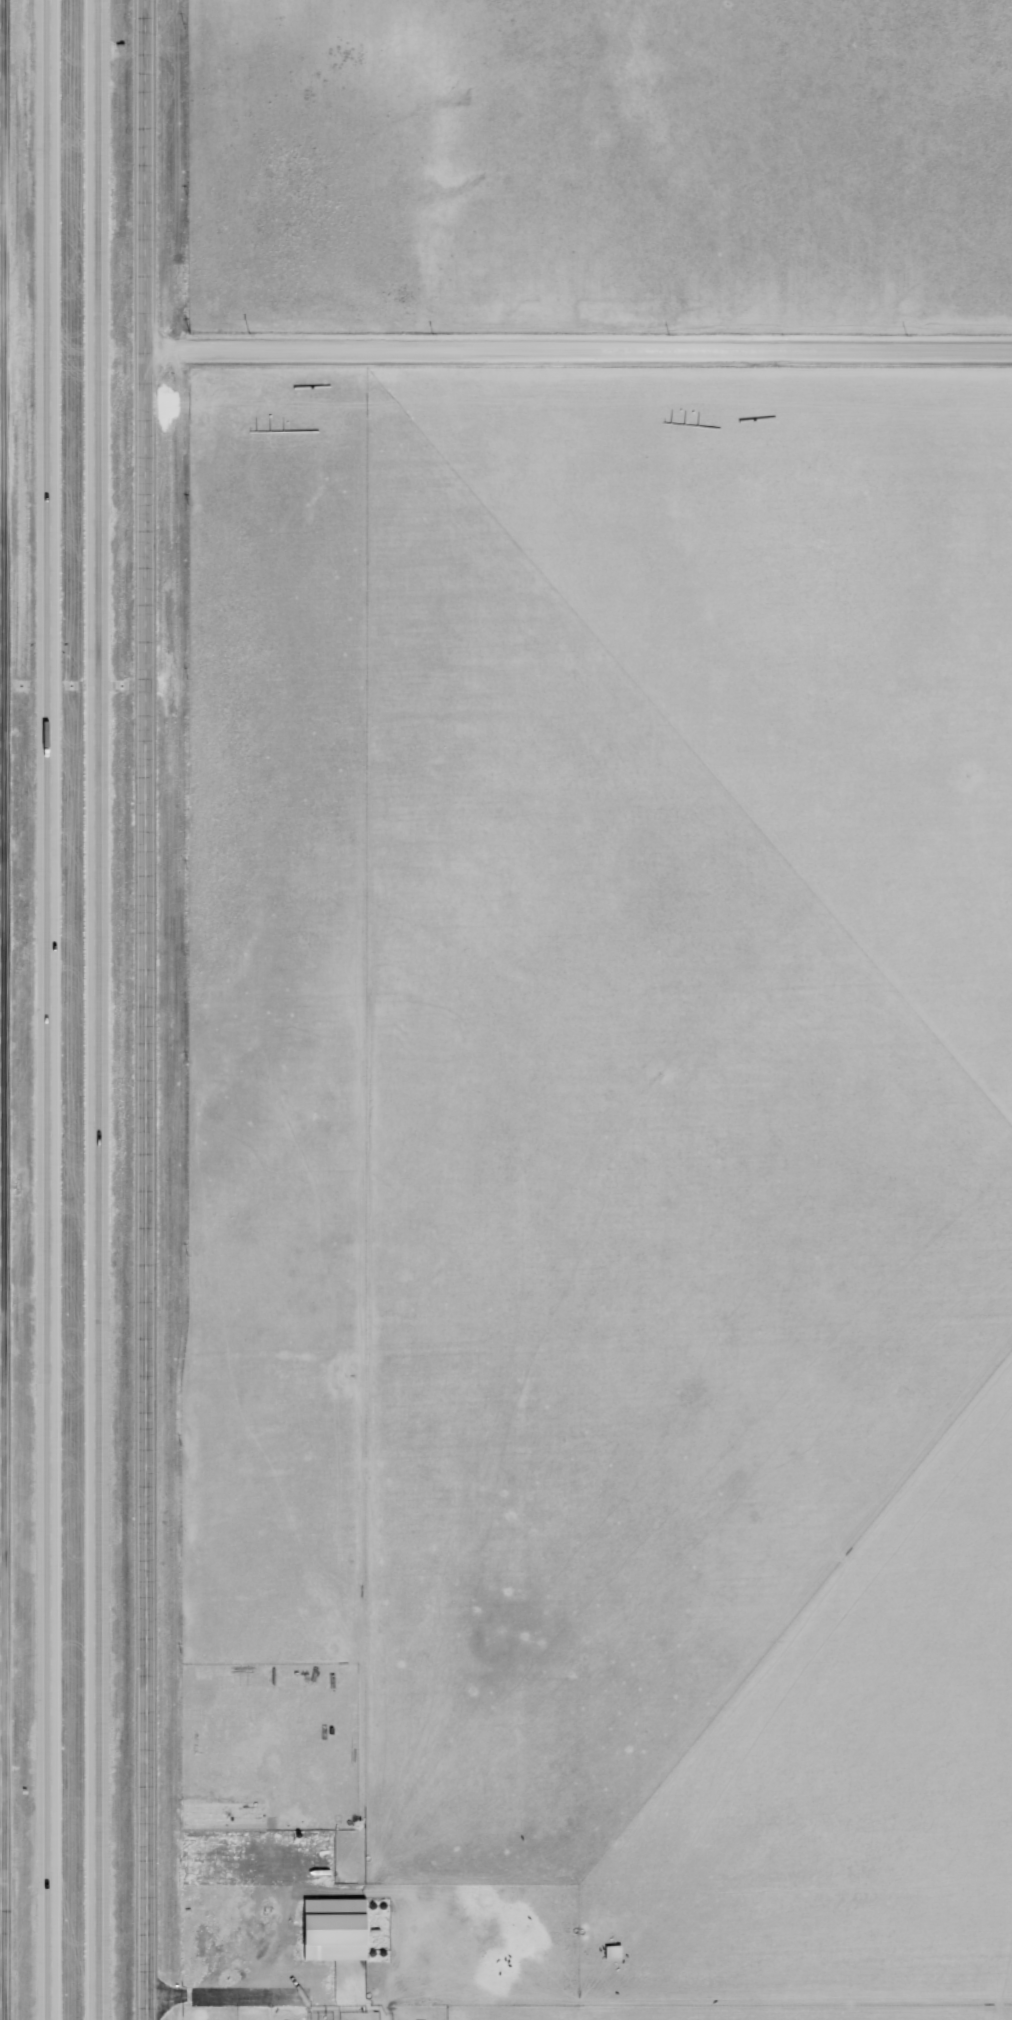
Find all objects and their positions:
road: (583, 356)
road: (2, 358)
road: (4, 1010)
road: (59, 1010)
road: (107, 1010)
road: (156, 1010)
road: (1, 1738)

